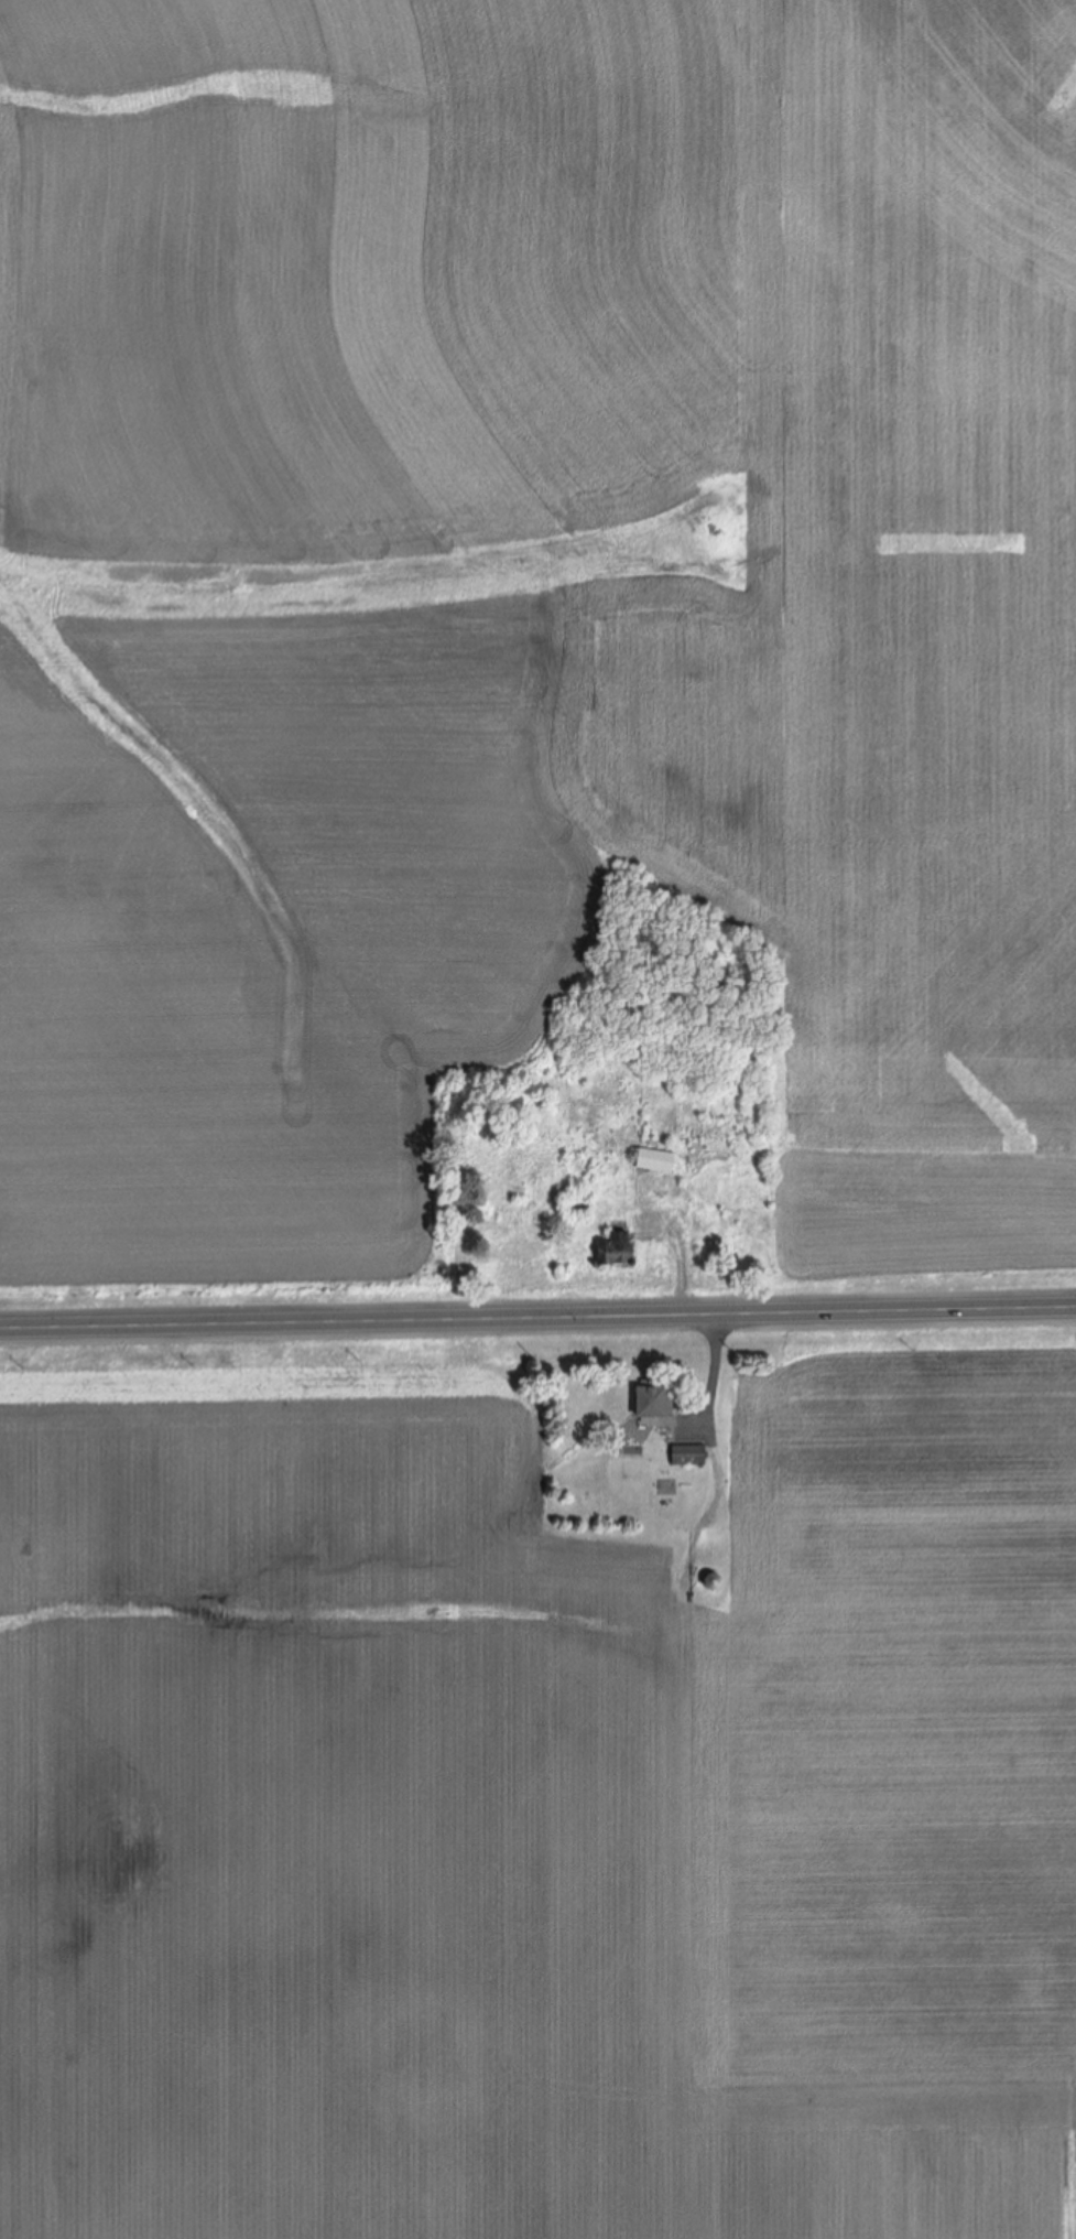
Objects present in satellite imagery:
building: (657, 1160)
building: (577, 1205)
building: (618, 1250)
road: (537, 1323)
building: (655, 1402)
building: (689, 1454)
building: (715, 1582)
crop: (535, 1802)

